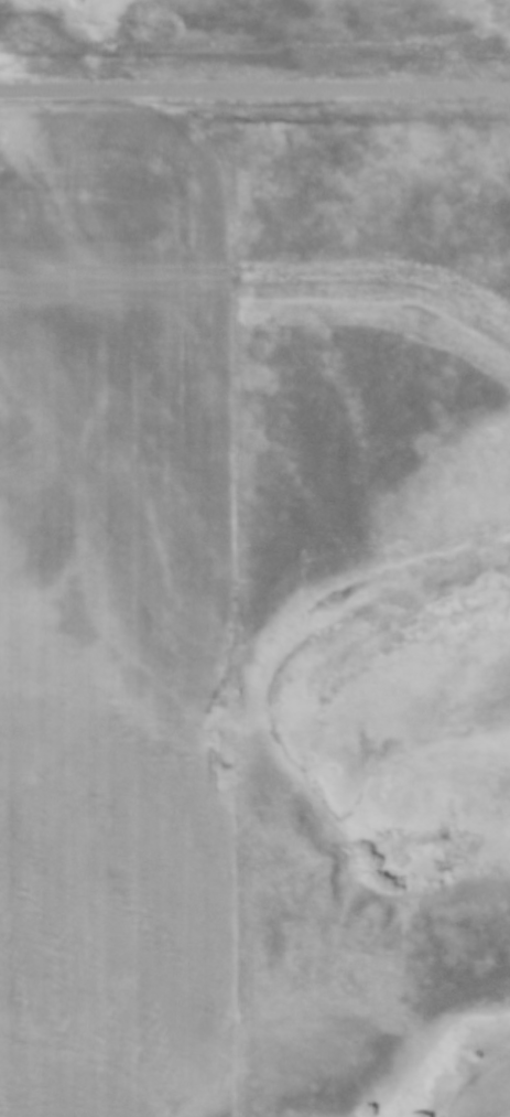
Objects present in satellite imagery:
road: (254, 86)

